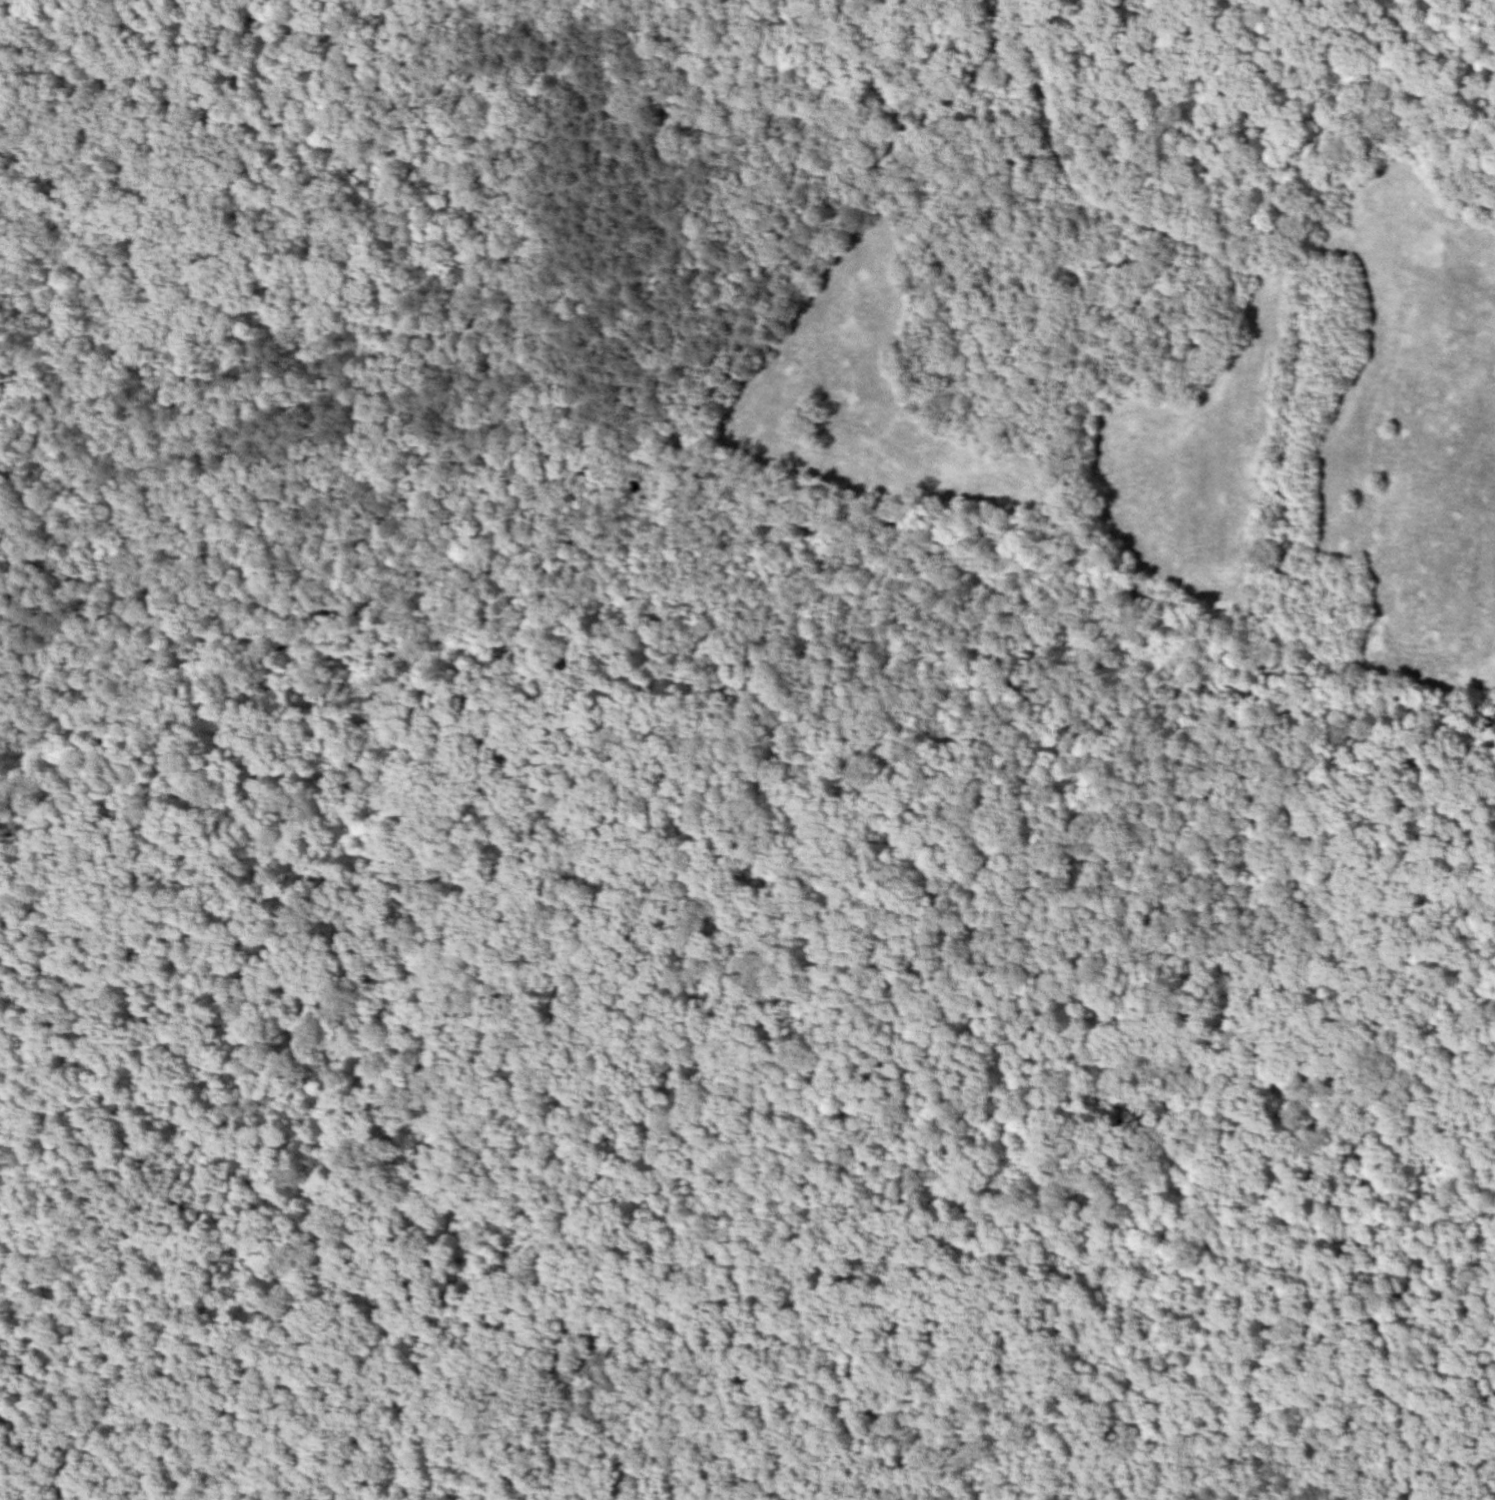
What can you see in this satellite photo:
road: (471, 684)

